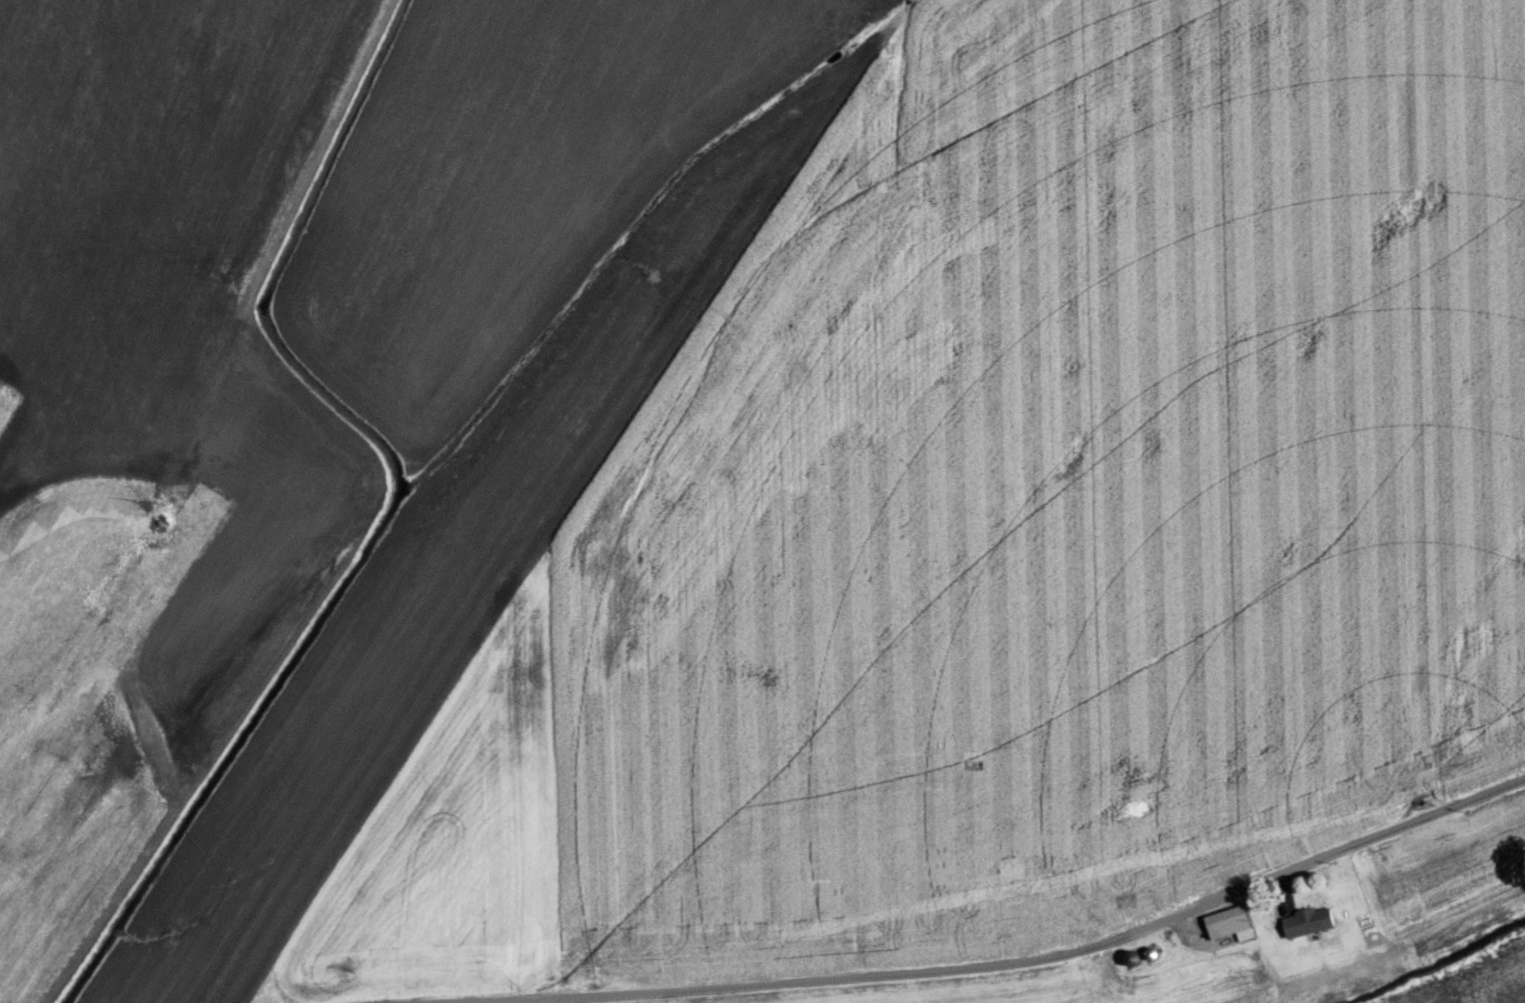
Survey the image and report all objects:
building: (1229, 922)
road: (976, 964)

